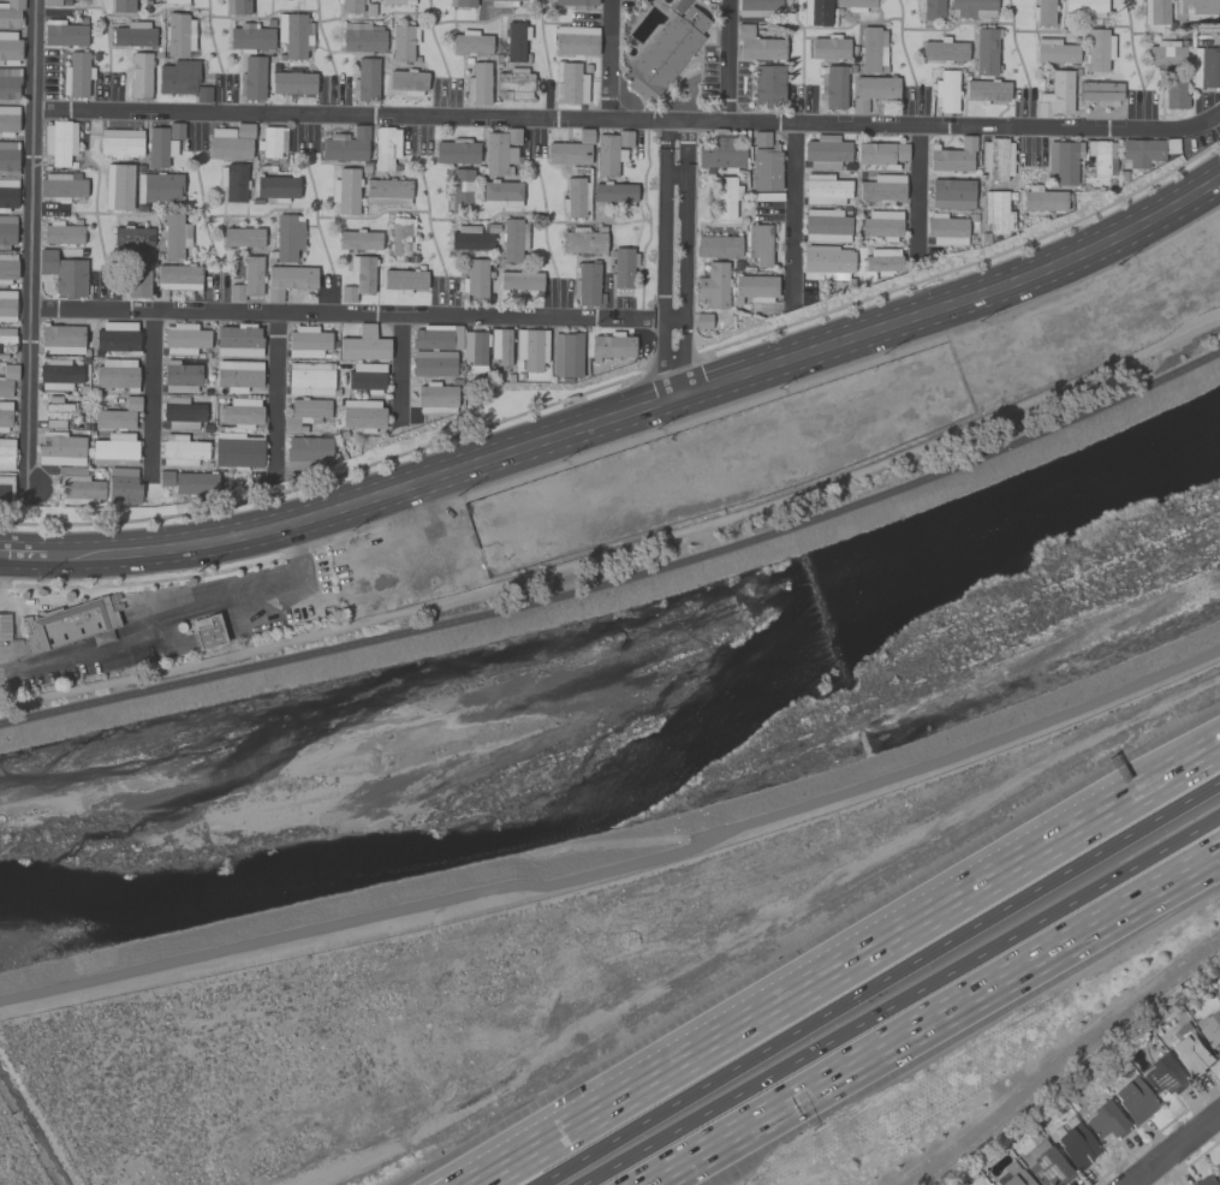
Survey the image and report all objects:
building: (294, 0)
building: (174, 1)
building: (397, 1)
building: (52, 2)
building: (462, 2)
building: (502, 2)
building: (576, 4)
building: (679, 5)
building: (855, 5)
building: (123, 6)
building: (350, 6)
building: (1084, 6)
building: (237, 7)
building: (757, 7)
building: (971, 8)
building: (1198, 8)
building: (369, 10)
building: (932, 10)
building: (816, 12)
building: (1042, 12)
building: (1154, 12)
building: (10, 13)
building: (63, 34)
building: (132, 35)
building: (178, 35)
building: (293, 35)
building: (249, 37)
building: (362, 37)
building: (514, 41)
building: (575, 41)
building: (403, 42)
building: (470, 42)
building: (756, 44)
building: (8, 48)
building: (828, 48)
building: (871, 49)
building: (1097, 49)
building: (942, 50)
building: (984, 52)
building: (1055, 52)
building: (1165, 53)
building: (666, 54)
road: (608, 60)
road: (725, 61)
building: (1206, 67)
building: (76, 75)
building: (139, 76)
building: (177, 77)
building: (251, 78)
building: (364, 81)
building: (407, 82)
building: (8, 83)
building: (292, 83)
building: (514, 83)
building: (569, 83)
building: (477, 84)
building: (767, 84)
building: (832, 88)
building: (871, 90)
building: (987, 90)
building: (945, 91)
building: (1100, 93)
building: (203, 94)
building: (1055, 95)
building: (1172, 95)
building: (7, 120)
road: (629, 120)
building: (244, 130)
building: (175, 131)
road: (662, 135)
road: (685, 141)
building: (120, 142)
building: (270, 142)
building: (59, 143)
building: (227, 144)
building: (346, 145)
building: (1171, 145)
building: (159, 148)
building: (383, 148)
building: (570, 150)
building: (456, 151)
building: (500, 151)
building: (609, 153)
building: (825, 153)
building: (1139, 153)
building: (881, 154)
building: (720, 155)
building: (952, 156)
building: (1101, 157)
building: (8, 159)
building: (996, 159)
building: (1061, 161)
building: (764, 163)
building: (233, 181)
building: (118, 186)
building: (60, 187)
building: (157, 187)
building: (276, 187)
building: (881, 187)
building: (460, 190)
building: (825, 190)
building: (345, 191)
building: (387, 191)
building: (501, 192)
building: (614, 193)
building: (7, 195)
building: (951, 195)
road: (918, 196)
building: (575, 197)
building: (725, 197)
building: (1042, 200)
building: (996, 213)
road: (793, 215)
building: (825, 225)
building: (881, 225)
building: (945, 230)
building: (6, 231)
building: (63, 233)
building: (131, 236)
building: (174, 236)
building: (400, 236)
building: (243, 237)
building: (287, 238)
building: (469, 239)
building: (512, 239)
building: (358, 240)
building: (582, 242)
road: (30, 244)
building: (758, 244)
building: (718, 246)
building: (881, 261)
building: (825, 262)
building: (623, 267)
building: (7, 268)
building: (63, 273)
building: (137, 274)
building: (251, 276)
building: (178, 278)
building: (358, 278)
building: (287, 280)
building: (404, 280)
building: (475, 280)
road: (663, 280)
road: (683, 282)
building: (519, 284)
building: (587, 285)
building: (713, 285)
building: (754, 287)
building: (236, 293)
building: (7, 305)
road: (340, 315)
road: (666, 321)
building: (702, 321)
building: (117, 337)
building: (61, 339)
building: (184, 339)
building: (238, 341)
building: (6, 343)
building: (307, 343)
building: (363, 345)
building: (499, 346)
building: (611, 346)
building: (530, 349)
building: (434, 350)
building: (475, 350)
building: (565, 355)
road: (399, 370)
building: (58, 375)
building: (115, 375)
building: (237, 375)
building: (180, 377)
building: (365, 377)
building: (309, 379)
building: (7, 380)
road: (149, 394)
road: (644, 394)
road: (275, 395)
building: (435, 399)
building: (55, 412)
building: (181, 412)
building: (117, 413)
building: (242, 413)
building: (304, 413)
building: (362, 415)
building: (4, 416)
road: (623, 427)
building: (60, 449)
building: (114, 449)
building: (181, 451)
building: (237, 451)
building: (307, 452)
building: (5, 454)
building: (165, 478)
building: (195, 482)
building: (121, 487)
building: (5, 488)
building: (79, 489)
road: (22, 546)
road: (621, 550)
road: (623, 580)
building: (69, 624)
building: (206, 631)
road: (139, 641)
river: (627, 708)
road: (1177, 772)
road: (621, 868)
road: (880, 987)
road: (802, 990)
road: (904, 1001)
road: (941, 1022)
building: (1210, 1028)
building: (1189, 1052)
building: (1164, 1076)
building: (1133, 1100)
building: (1106, 1121)
building: (1076, 1147)
road: (1168, 1147)
building: (1045, 1165)
building: (1219, 1165)
building: (1218, 1173)
building: (1011, 1175)
building: (1206, 1180)

